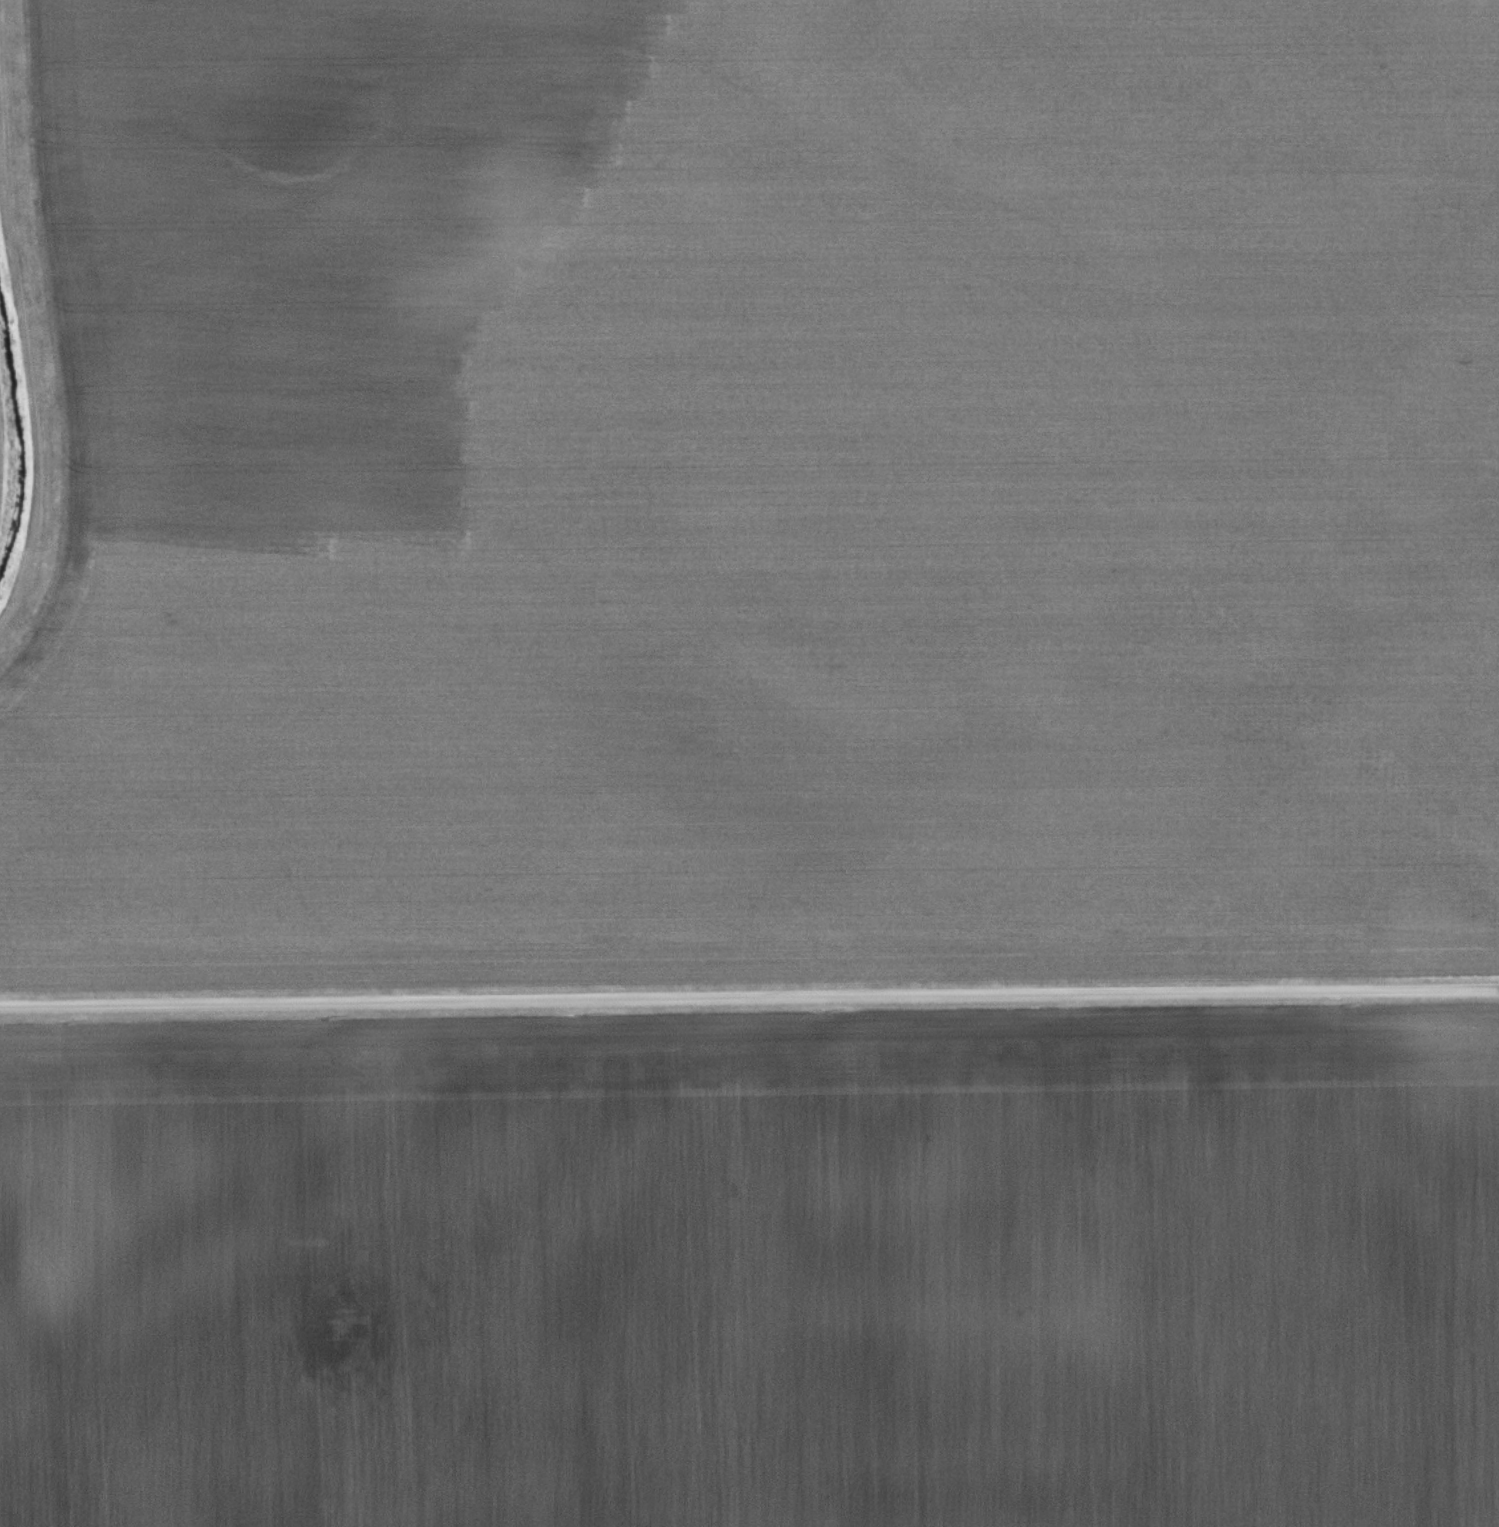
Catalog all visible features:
road: (749, 988)

